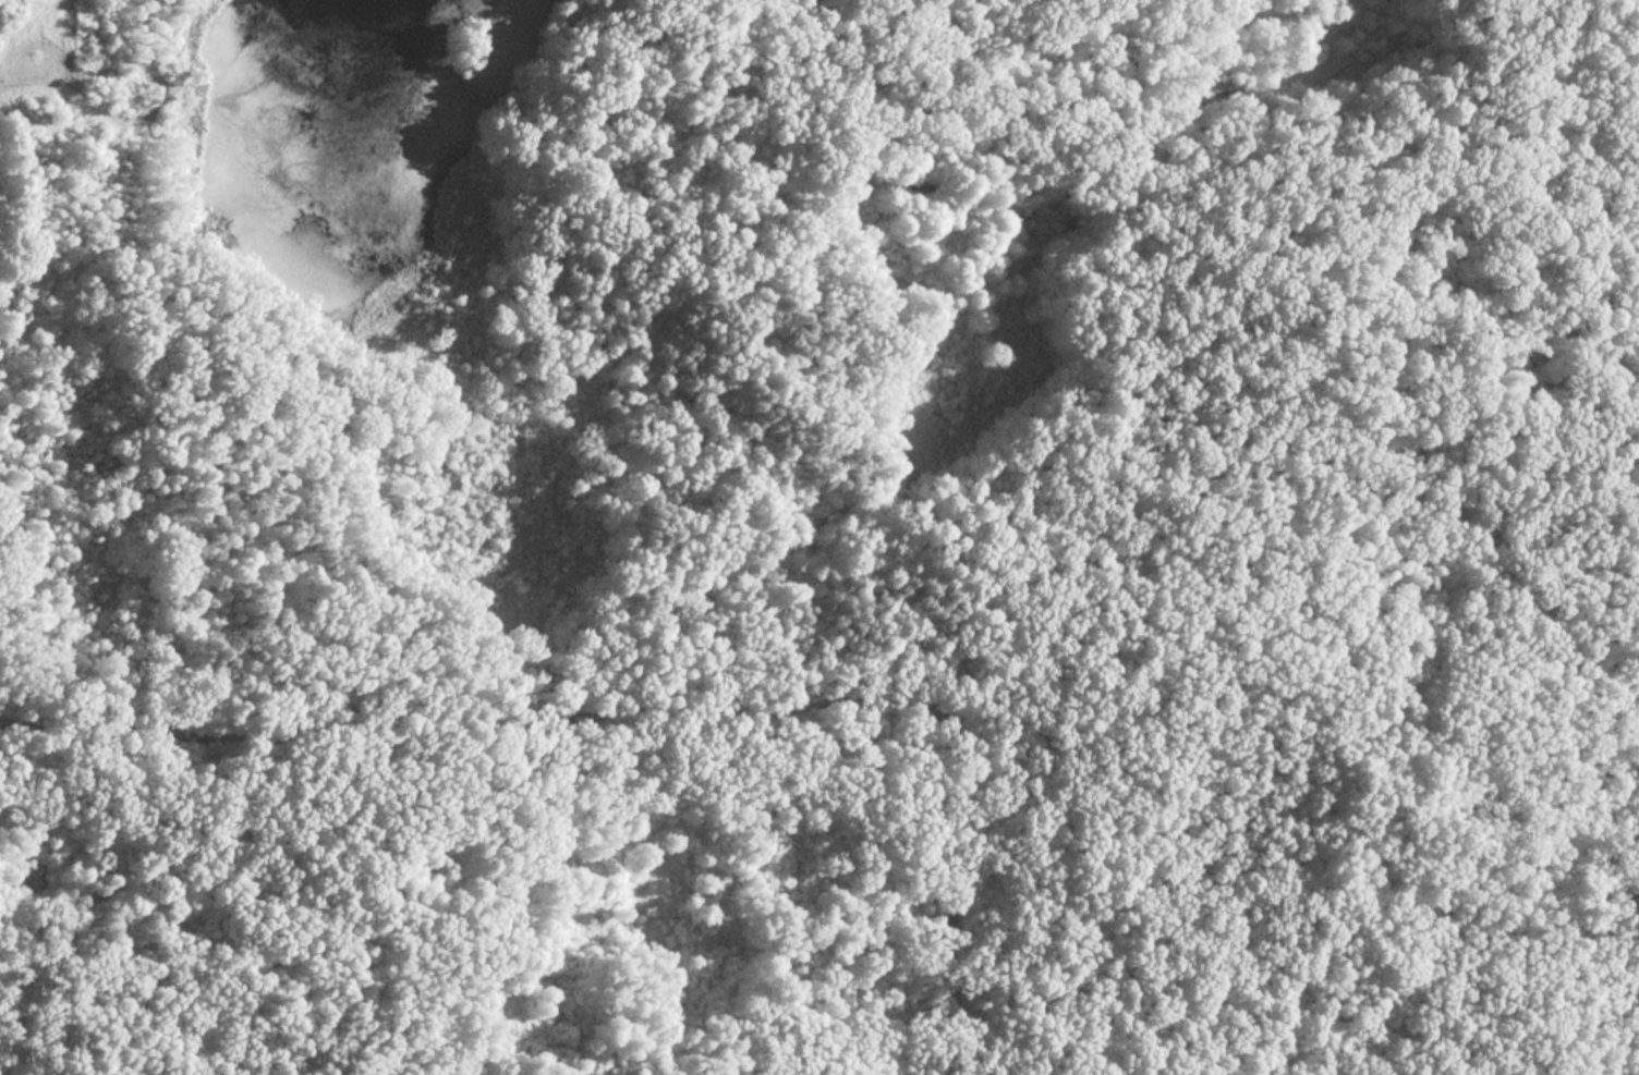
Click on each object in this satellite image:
road: (75, 110)
road: (1316, 363)
park: (819, 537)
road: (659, 709)

